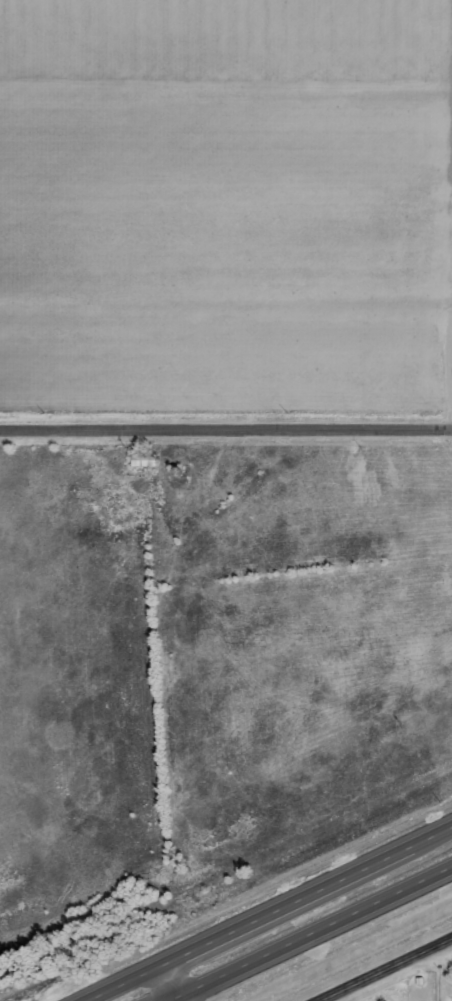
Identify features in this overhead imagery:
road: (226, 430)
building: (145, 459)
railway: (226, 861)
road: (267, 912)
road: (309, 933)
road: (436, 955)
road: (385, 970)
road: (160, 984)

